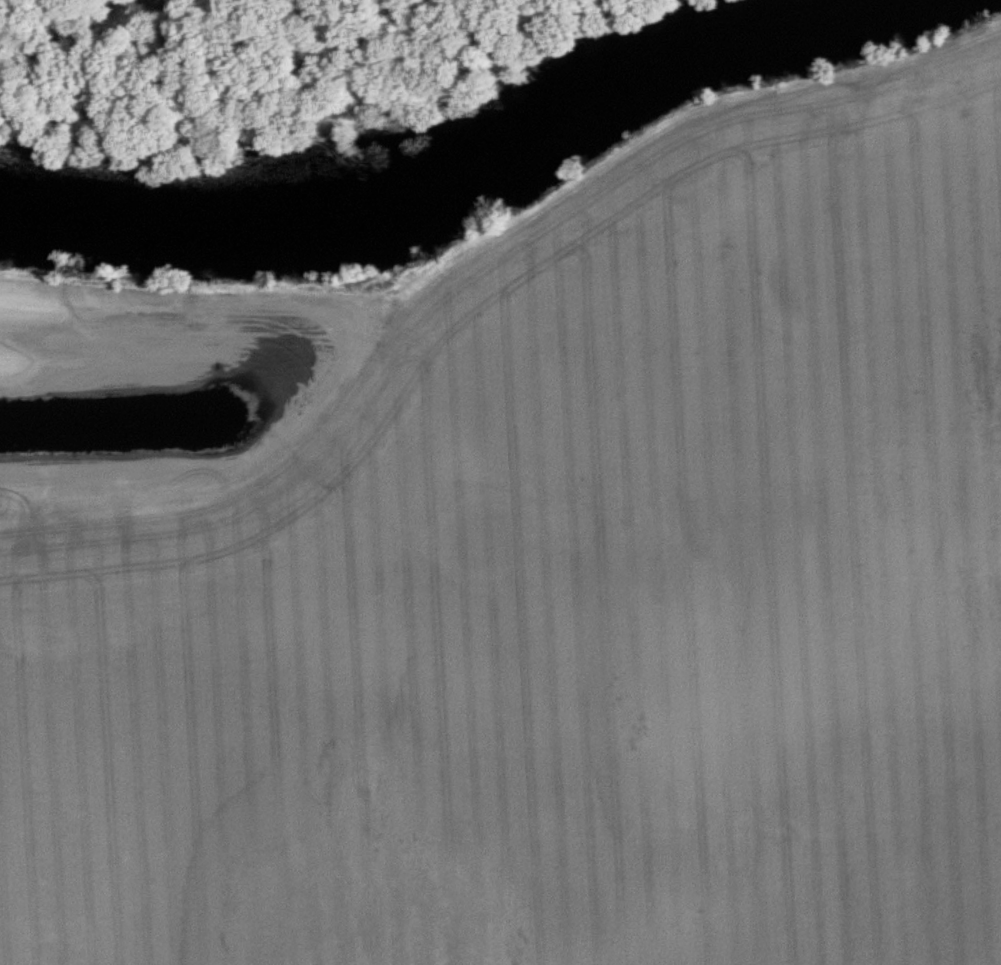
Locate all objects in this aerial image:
river: (447, 180)

